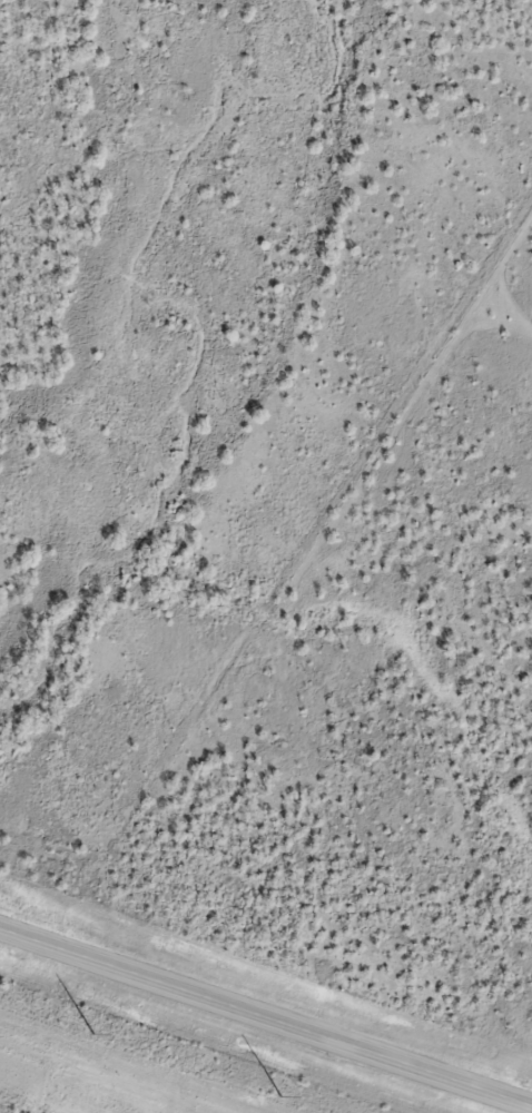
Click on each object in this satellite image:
road: (266, 1018)
power tower: (95, 1034)
power tower: (282, 1097)

